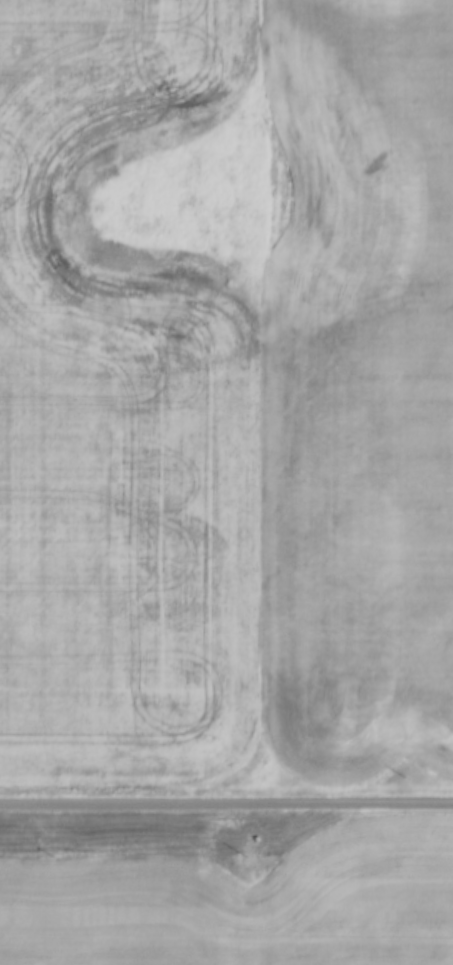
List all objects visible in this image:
road: (226, 794)

